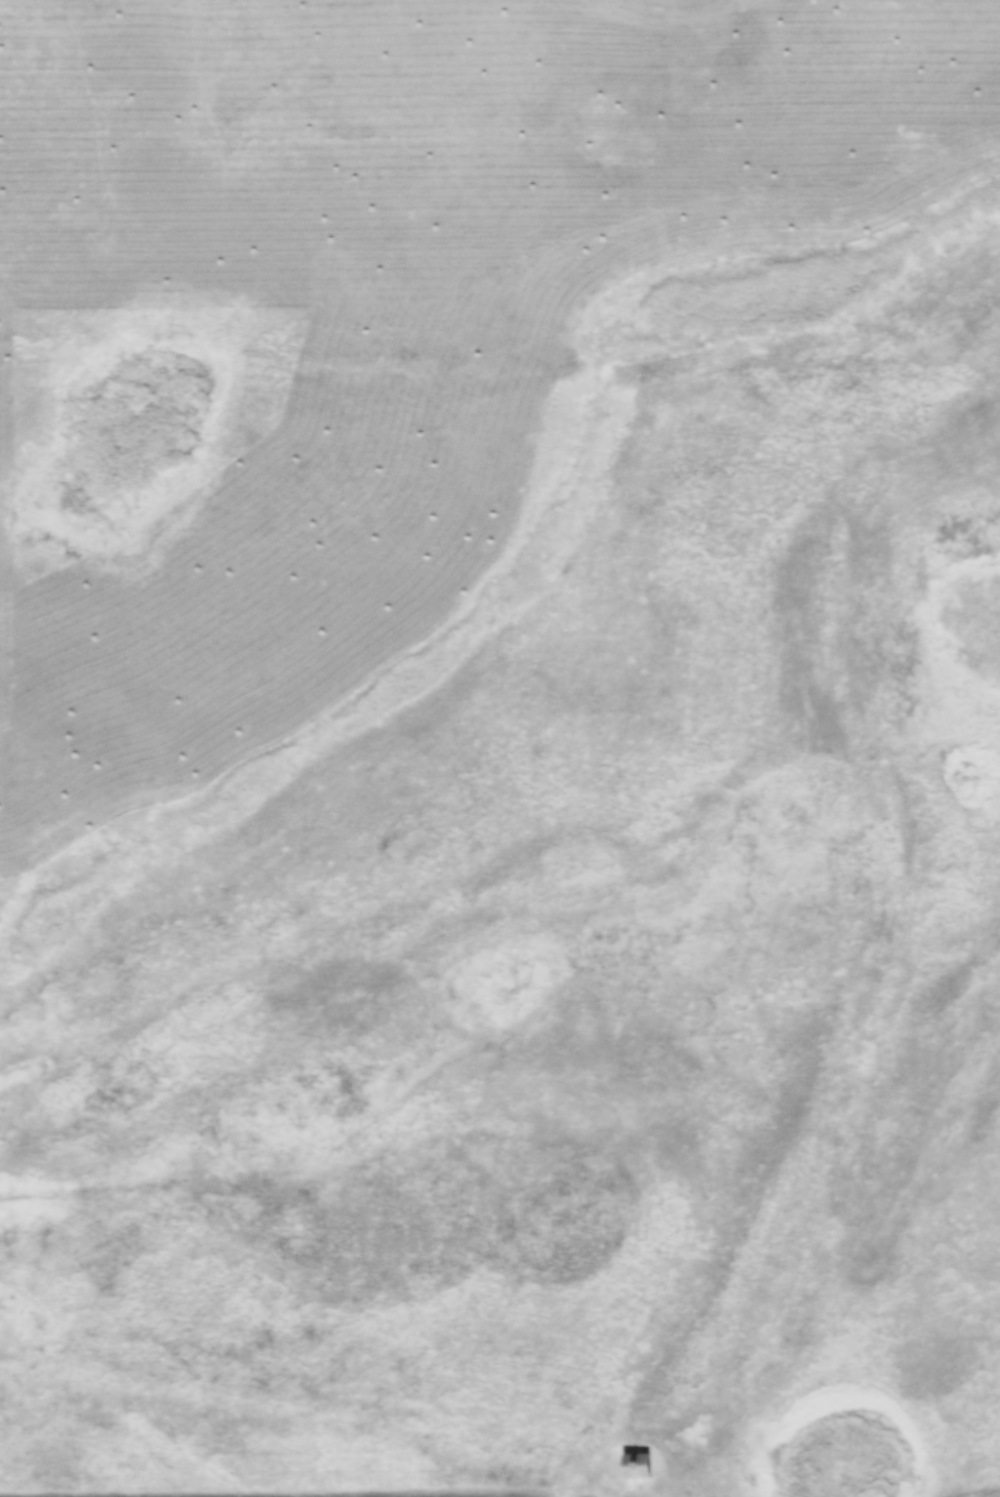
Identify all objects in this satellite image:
road: (234, 1186)
building: (636, 1471)

